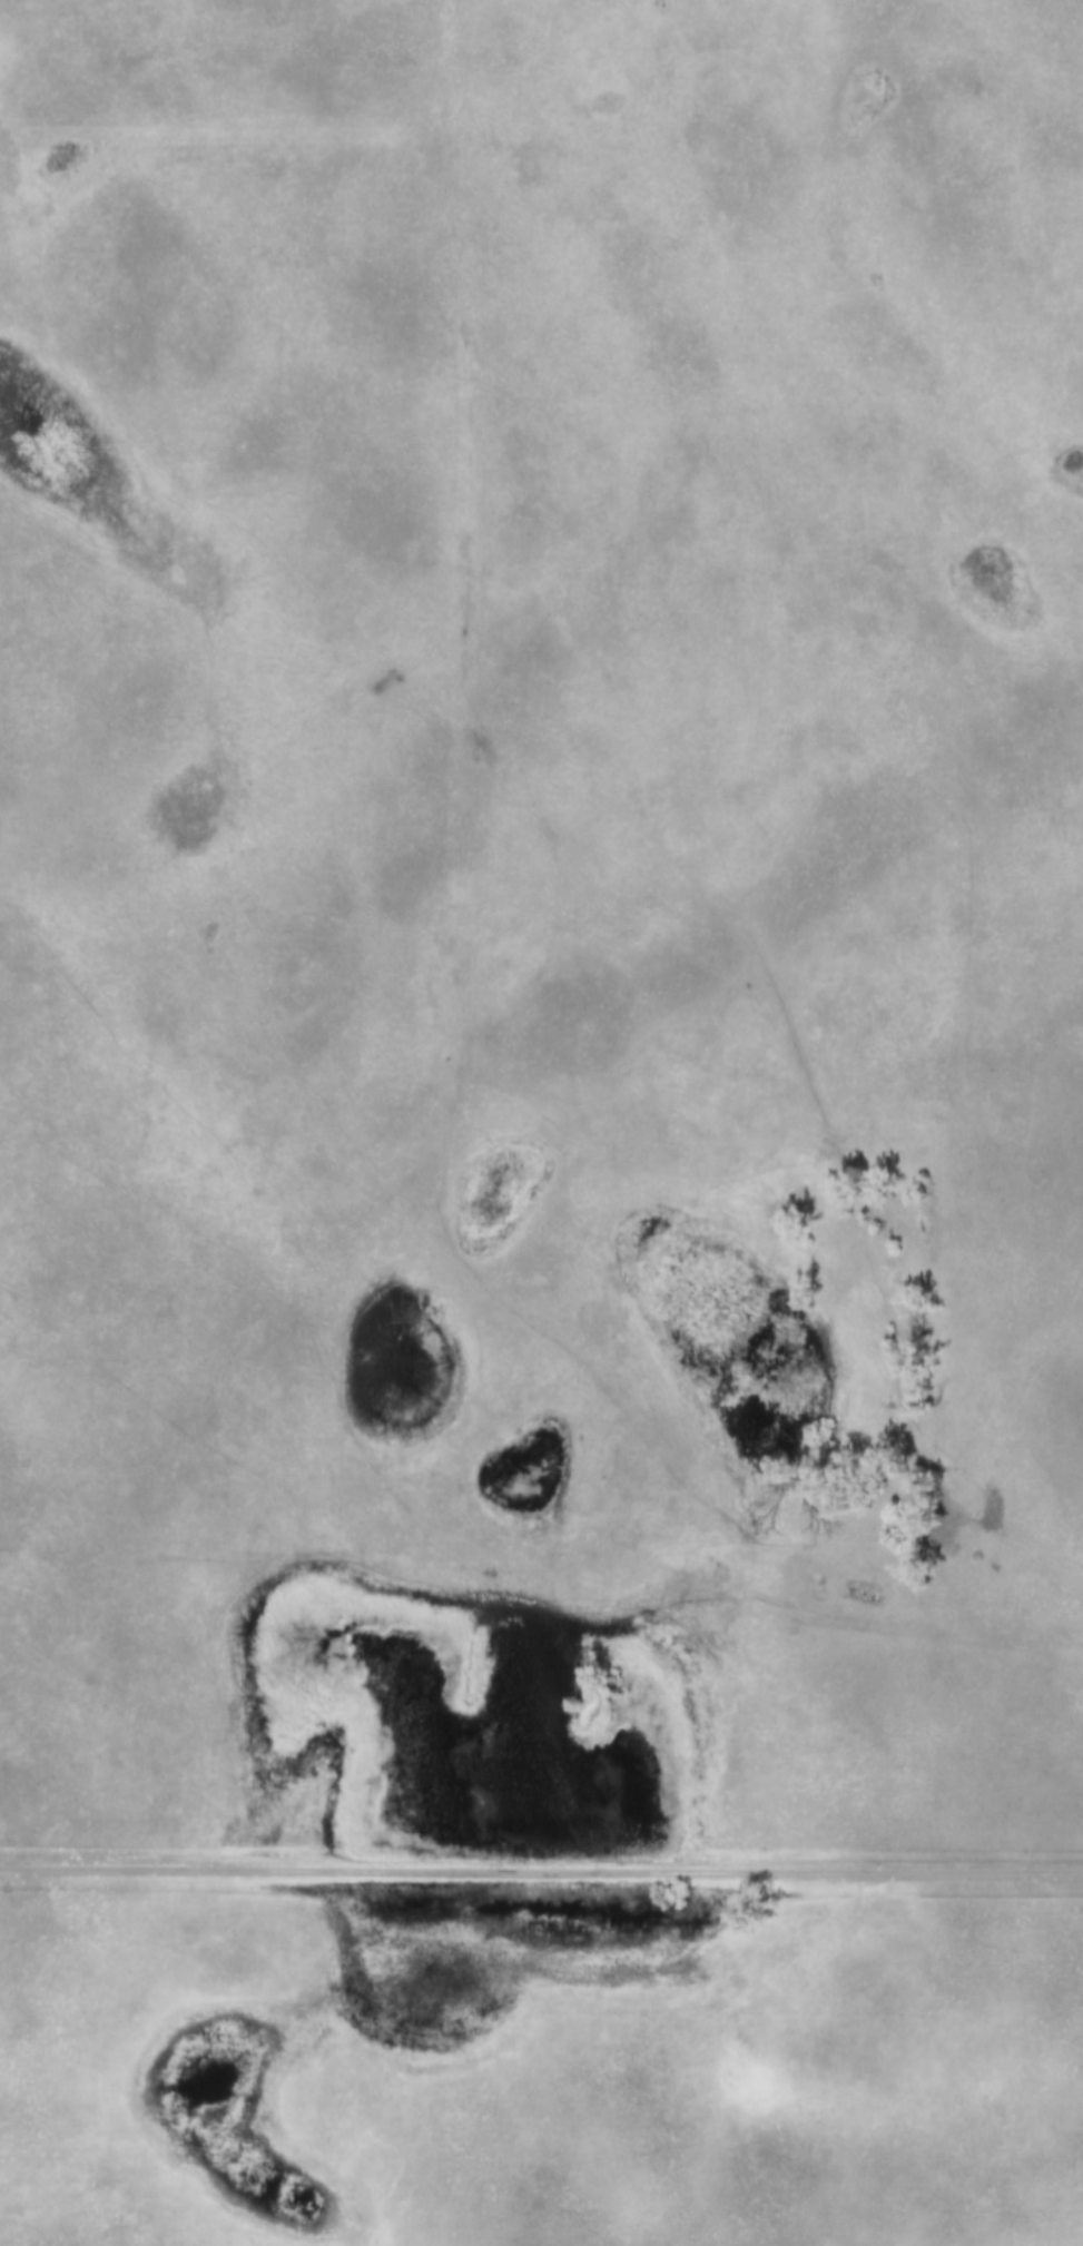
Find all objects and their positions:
road: (541, 1872)

